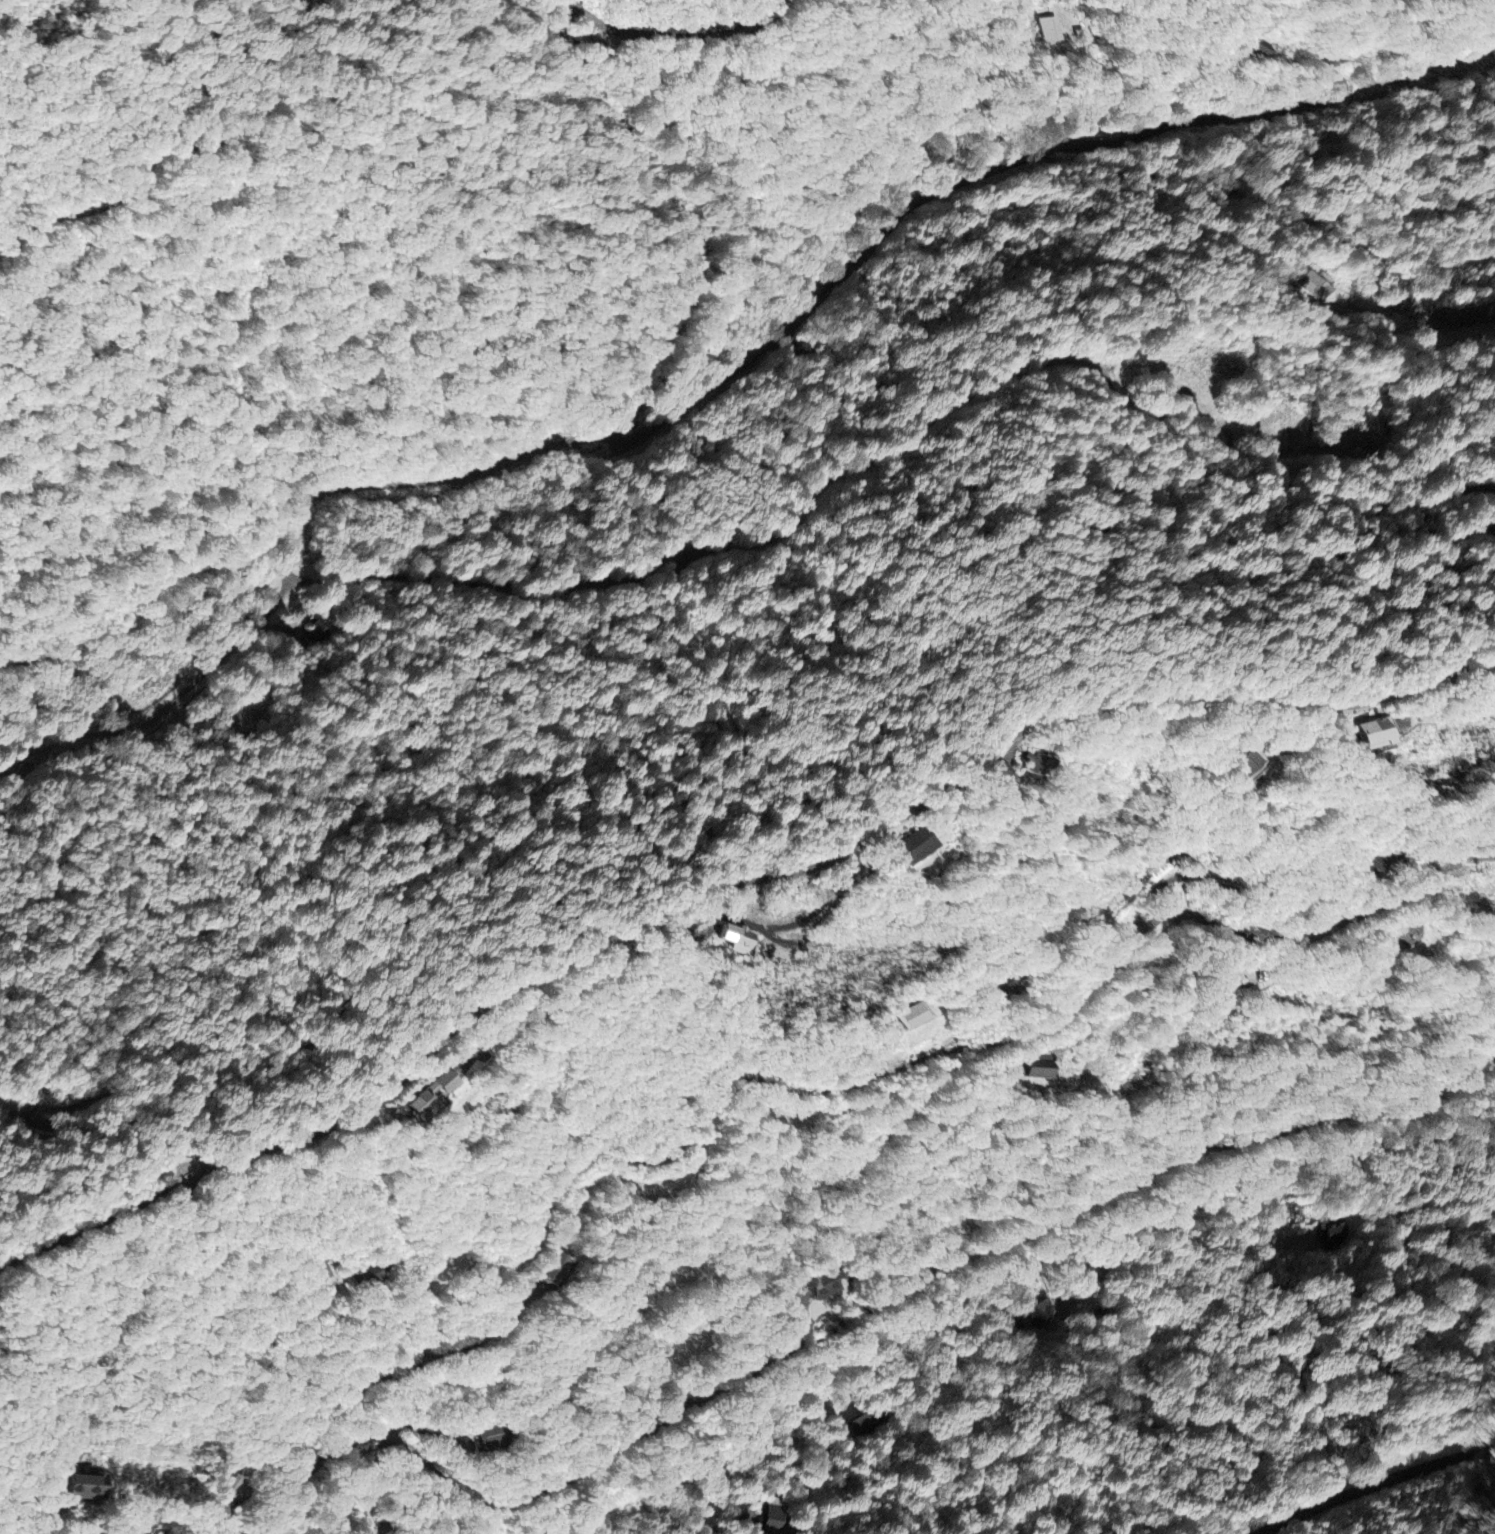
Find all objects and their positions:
building: (1051, 31)
building: (1259, 50)
road: (505, 113)
road: (1239, 148)
road: (800, 220)
building: (1317, 286)
road: (857, 419)
road: (264, 520)
road: (197, 576)
road: (106, 652)
building: (1371, 733)
building: (1251, 767)
building: (982, 772)
building: (932, 846)
building: (1374, 869)
building: (1157, 870)
road: (638, 926)
building: (745, 946)
building: (914, 1018)
building: (1037, 1069)
road: (822, 1092)
road: (852, 1317)
road: (1376, 1485)
building: (81, 1488)

